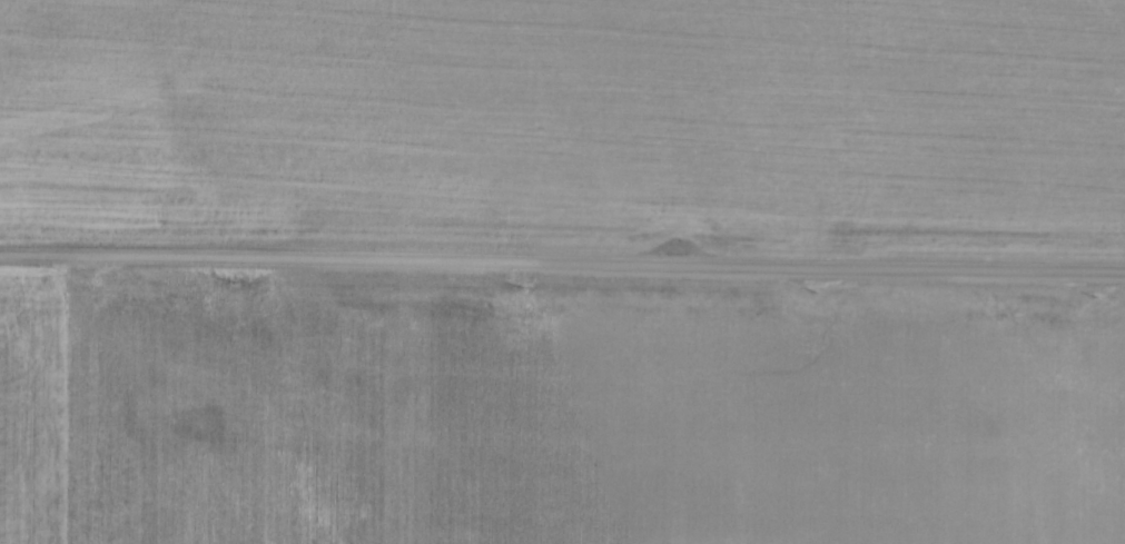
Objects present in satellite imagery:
crop: (570, 121)
road: (562, 260)
crop: (556, 412)

